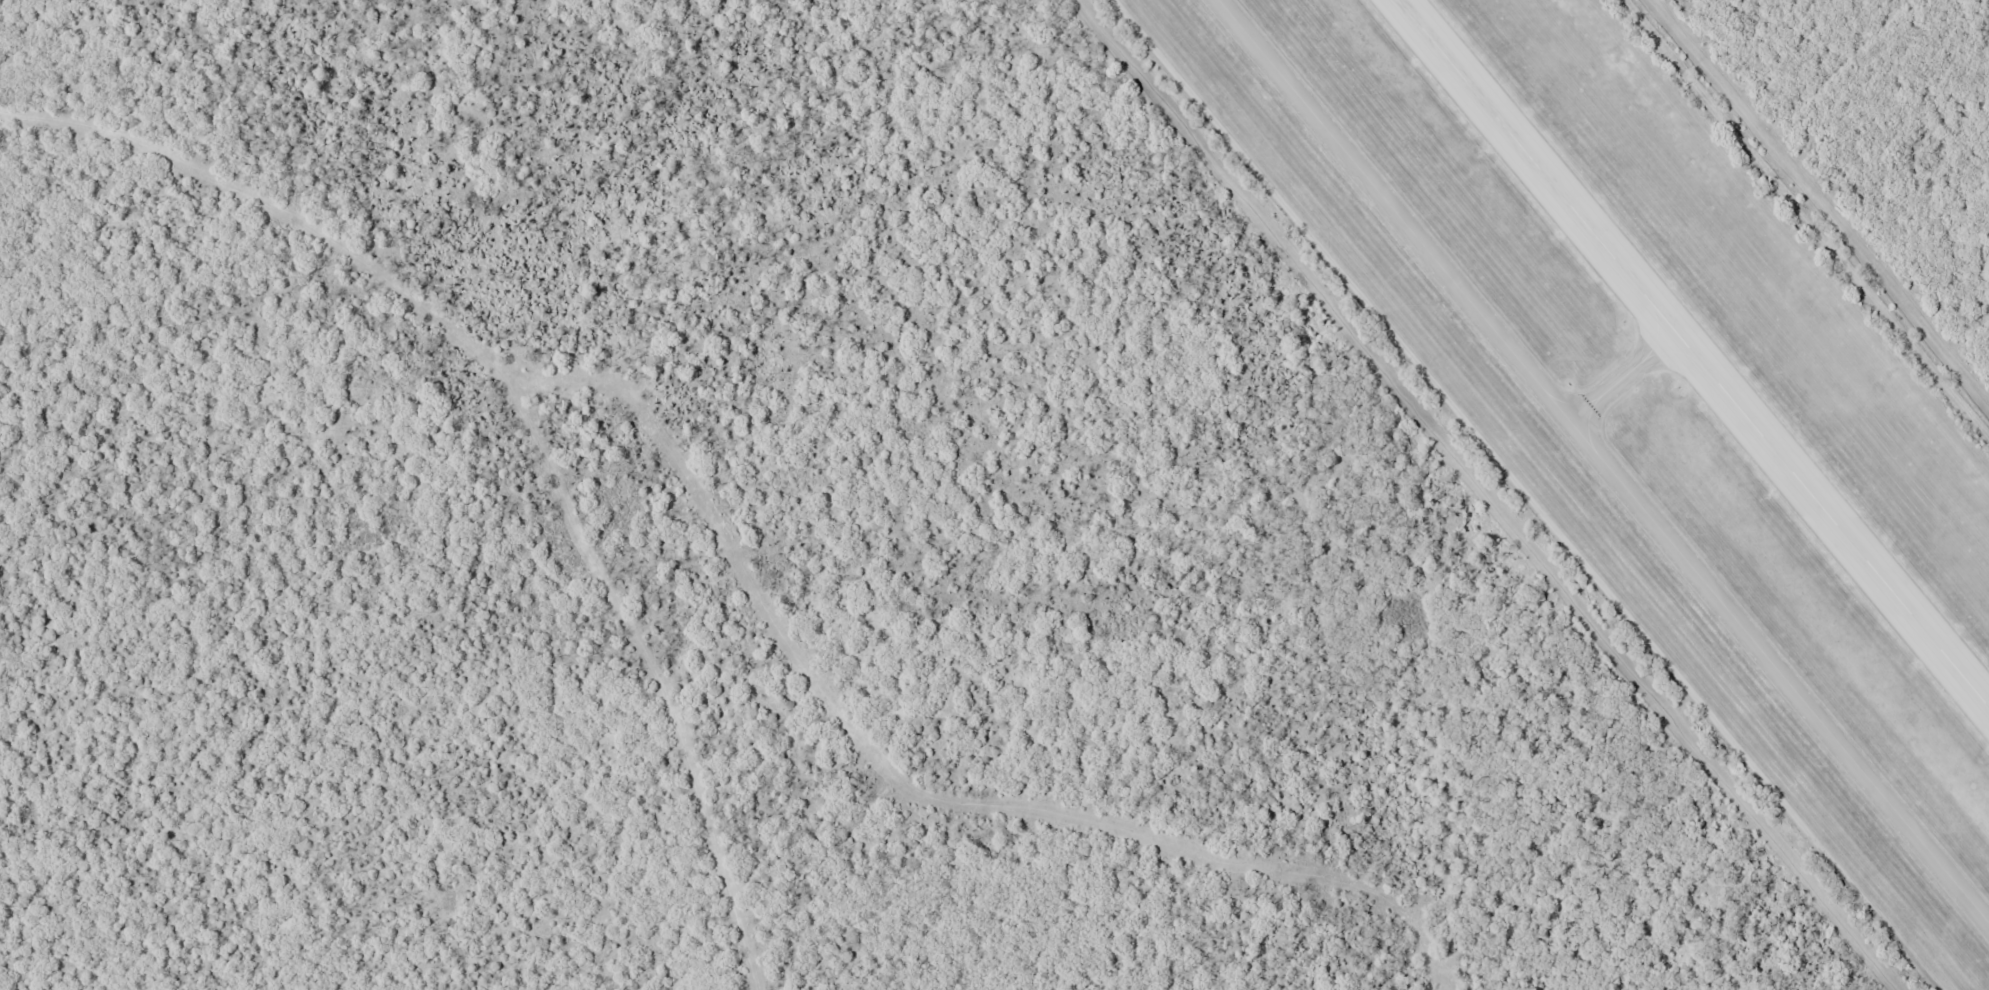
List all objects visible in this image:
airport runway: (1695, 350)
airport runway: (1697, 351)
airport taxiway: (1627, 377)
airport taxiway: (1604, 457)

